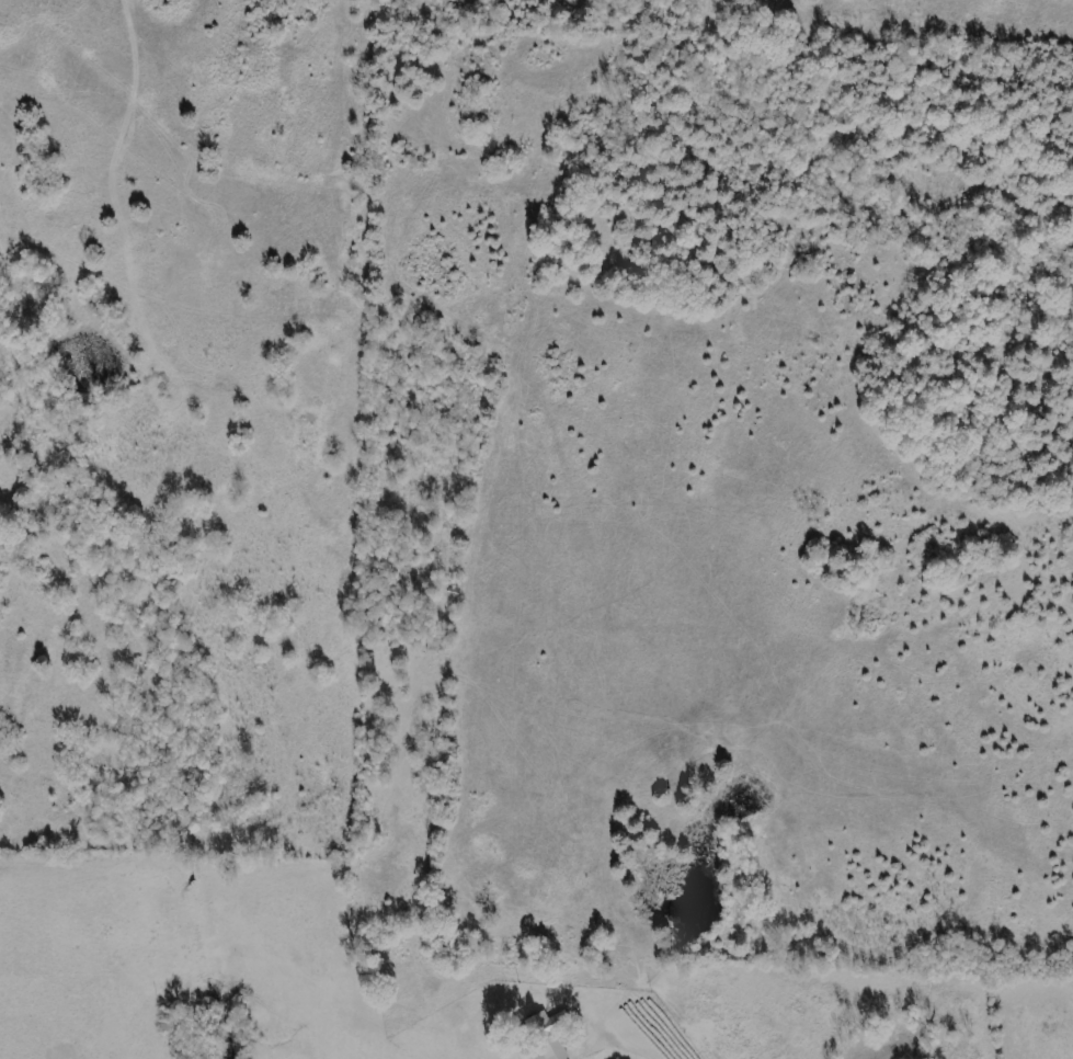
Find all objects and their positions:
building: (548, 1035)

